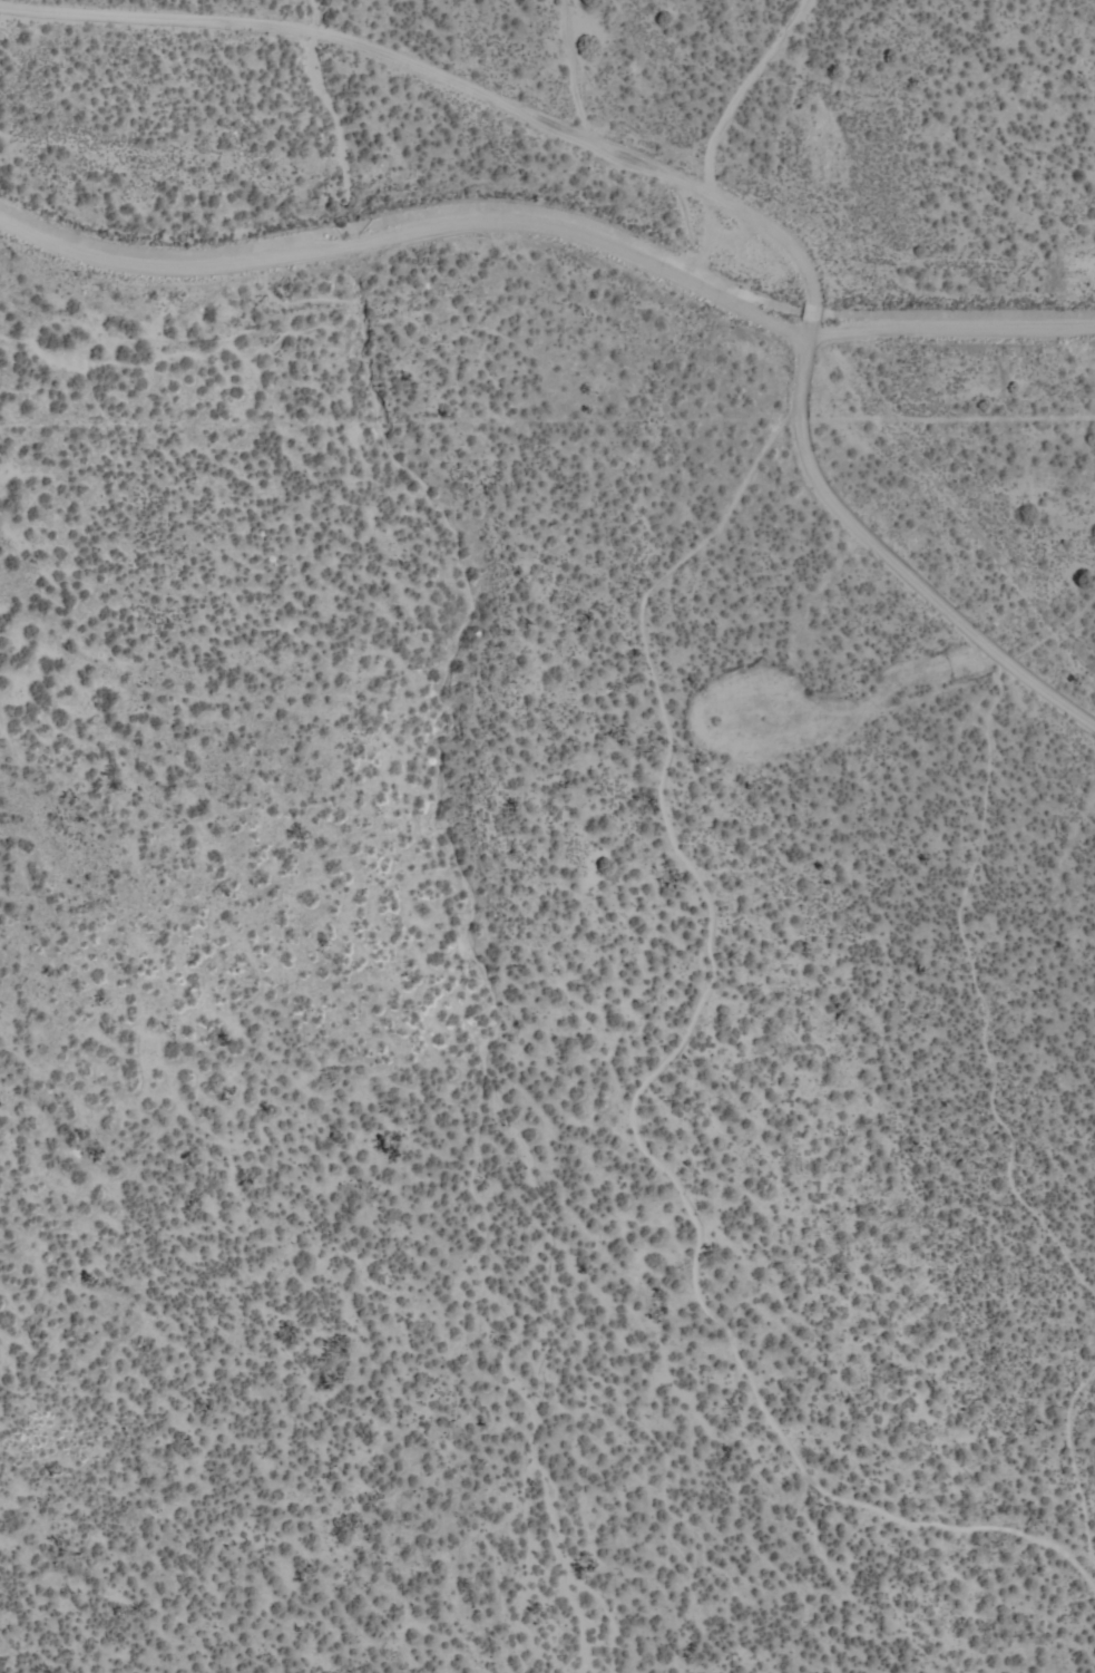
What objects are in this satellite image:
road: (17, 29)
road: (409, 79)
road: (434, 178)
road: (409, 233)
road: (950, 328)
road: (886, 562)

